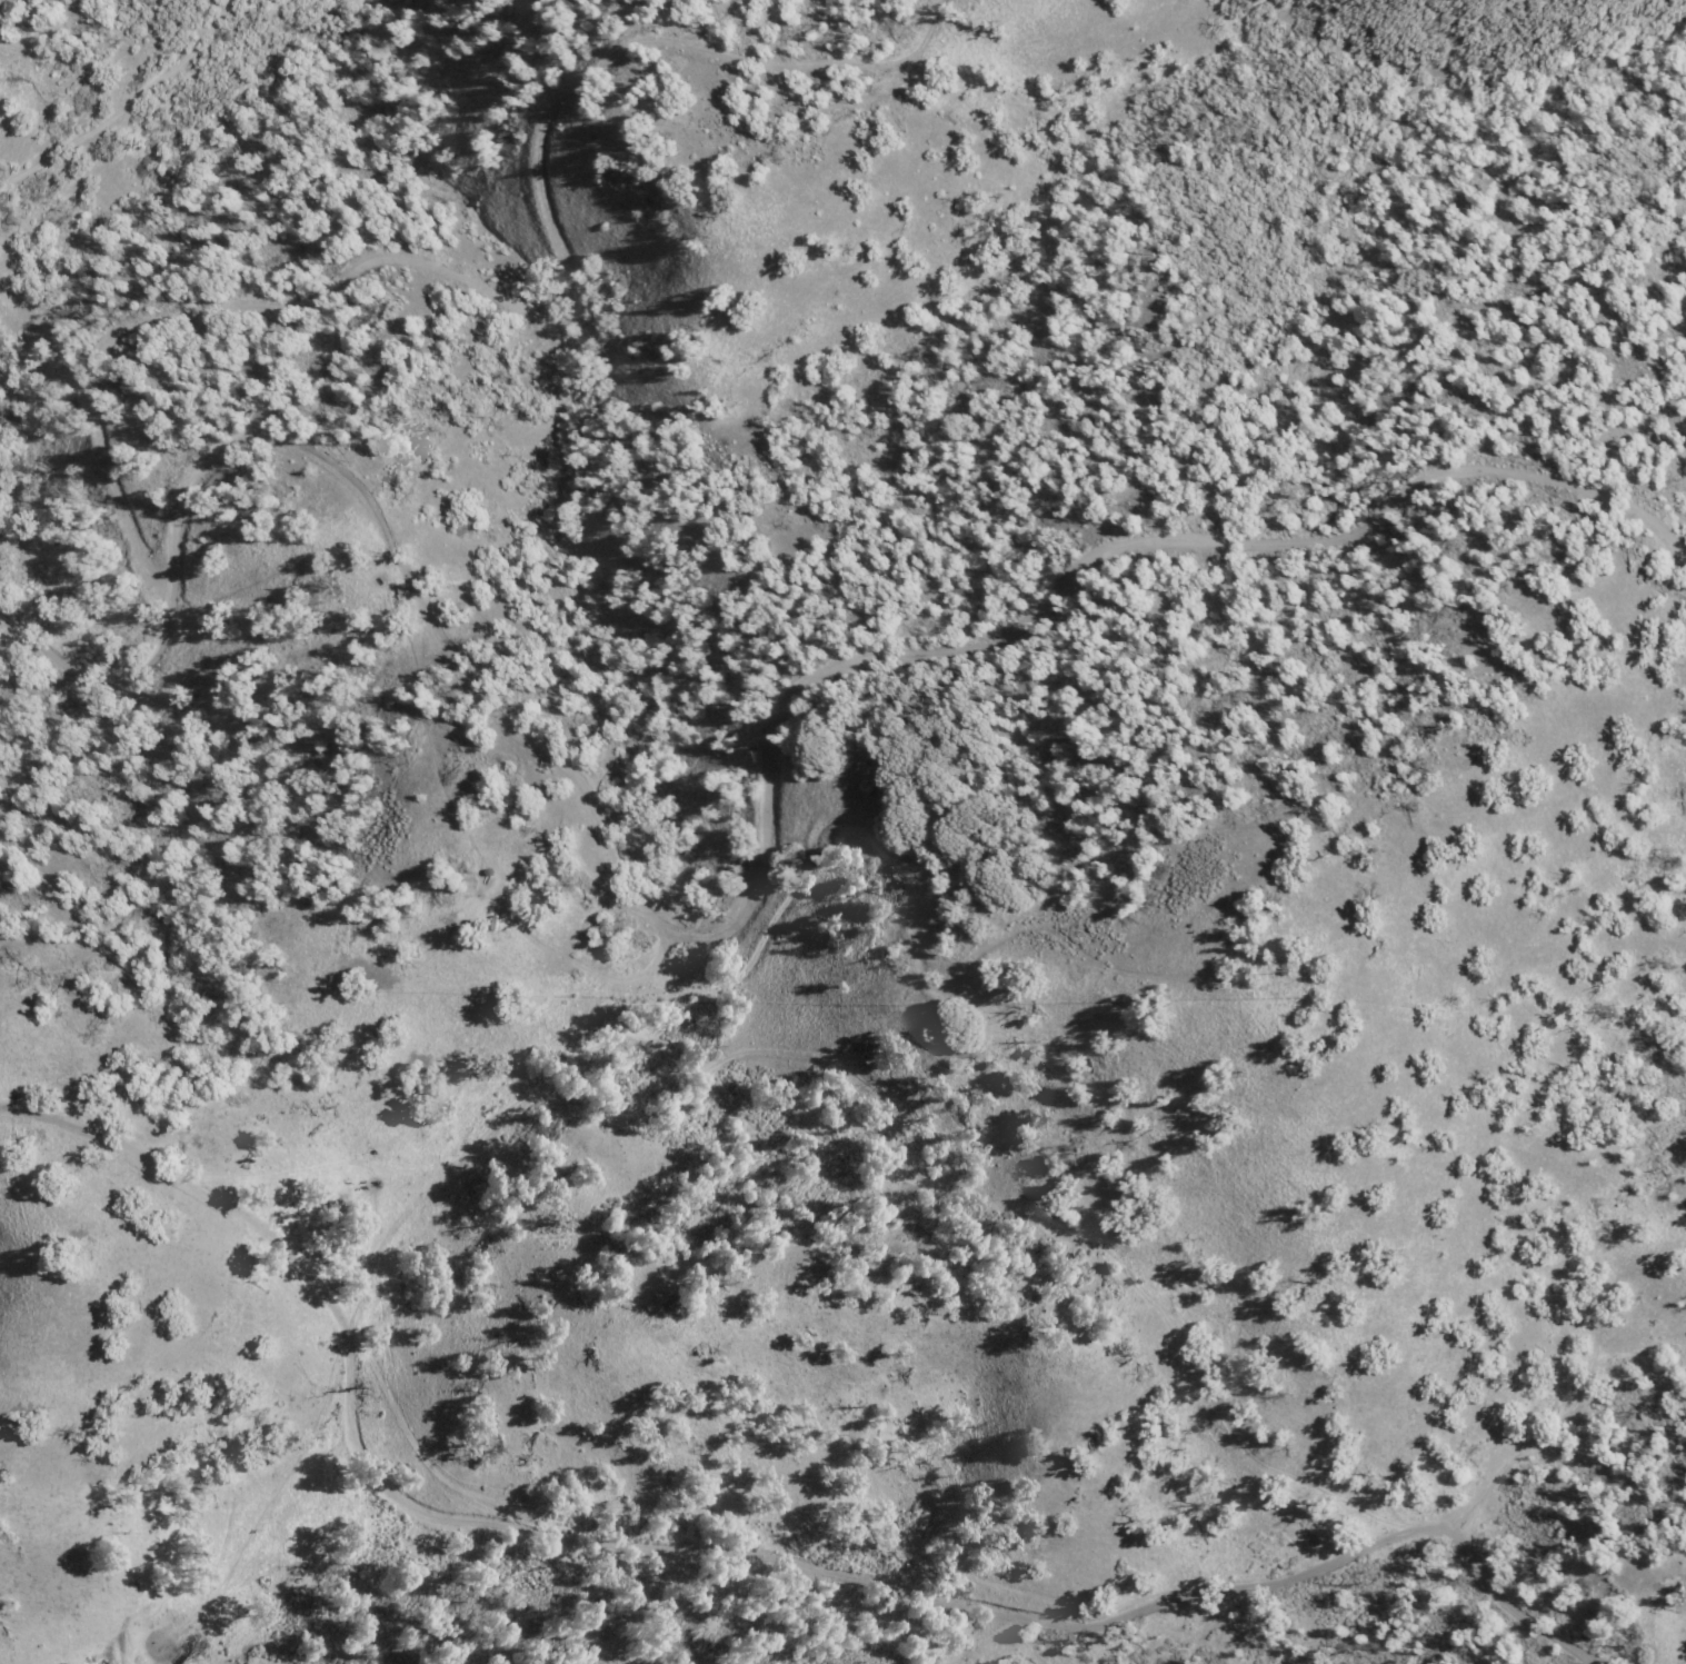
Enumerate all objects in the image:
road: (715, 1508)

